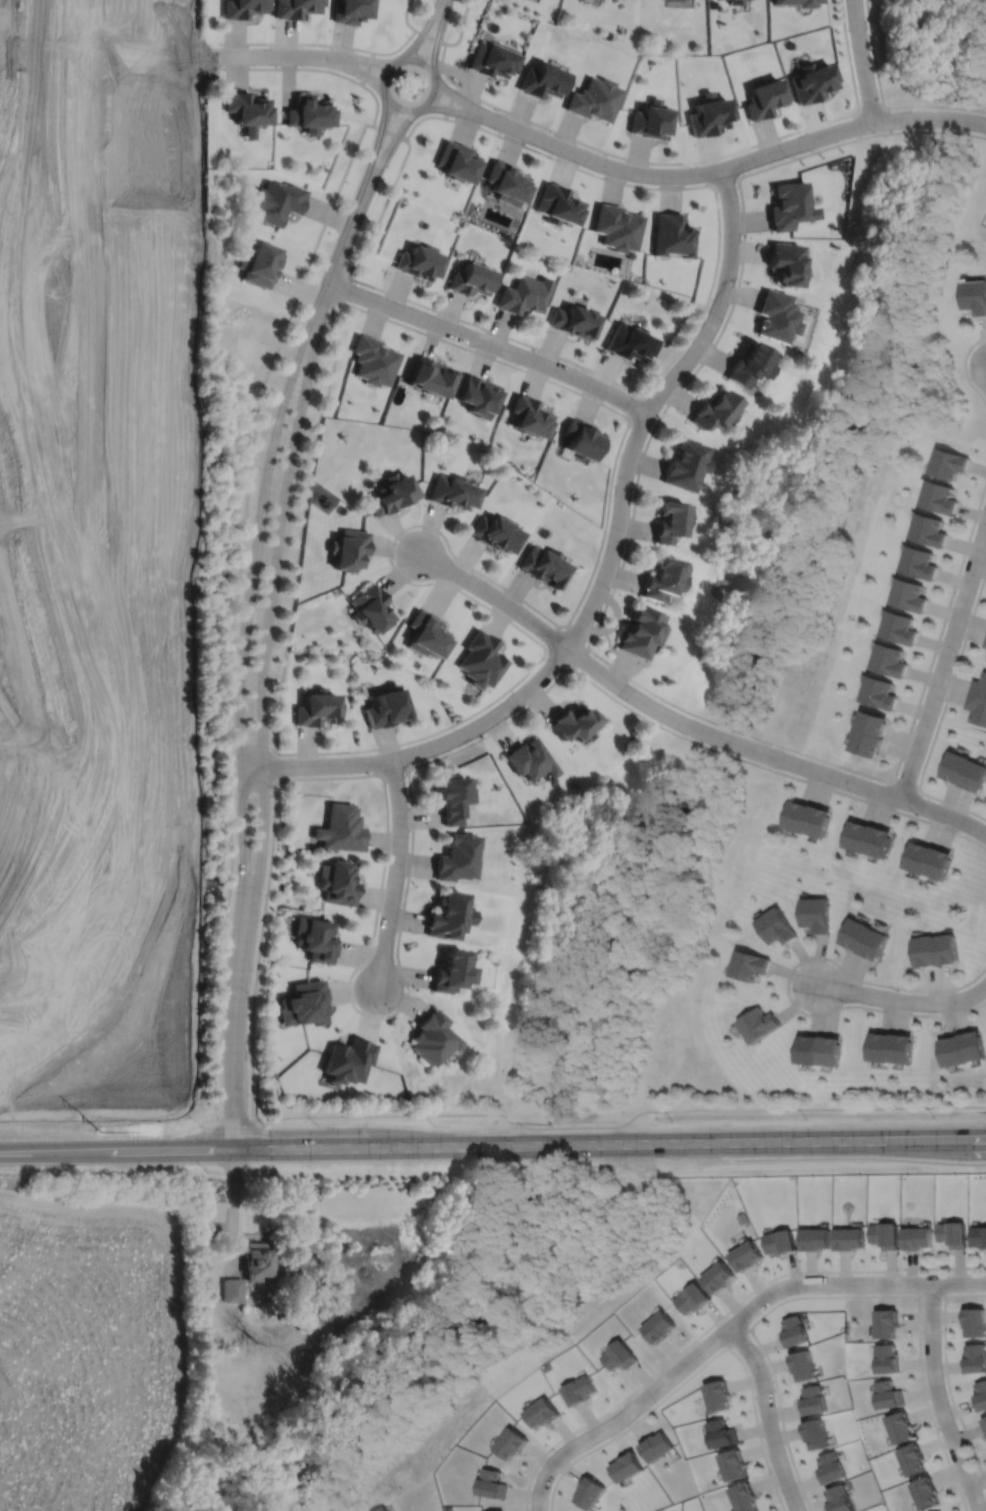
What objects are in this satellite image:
building: (735, 1)
building: (805, 4)
building: (244, 7)
building: (297, 7)
building: (352, 10)
road: (464, 27)
road: (423, 33)
road: (440, 35)
road: (411, 36)
road: (432, 36)
road: (298, 43)
road: (849, 53)
road: (276, 55)
road: (363, 58)
building: (496, 58)
road: (863, 61)
road: (295, 68)
road: (368, 68)
road: (358, 70)
building: (546, 79)
building: (813, 80)
building: (765, 96)
building: (598, 98)
road: (453, 101)
road: (467, 101)
road: (883, 102)
road: (871, 105)
road: (396, 107)
building: (249, 110)
building: (310, 112)
road: (463, 112)
building: (709, 113)
building: (650, 119)
road: (889, 119)
road: (857, 124)
road: (391, 132)
road: (380, 141)
road: (392, 146)
road: (631, 158)
building: (460, 161)
road: (740, 162)
road: (738, 163)
road: (725, 180)
building: (510, 183)
road: (394, 187)
building: (278, 201)
building: (790, 204)
building: (560, 205)
road: (719, 224)
building: (617, 227)
building: (672, 235)
road: (342, 251)
building: (422, 261)
building: (786, 262)
building: (262, 263)
building: (474, 279)
road: (348, 288)
building: (523, 294)
building: (975, 295)
road: (438, 310)
building: (776, 316)
building: (573, 320)
road: (491, 343)
building: (629, 343)
building: (375, 361)
building: (749, 364)
road: (963, 369)
building: (434, 377)
building: (477, 396)
road: (653, 404)
building: (715, 410)
building: (529, 417)
building: (581, 439)
building: (949, 464)
building: (686, 465)
road: (613, 469)
building: (393, 492)
building: (452, 492)
building: (940, 498)
road: (302, 521)
building: (670, 522)
building: (930, 531)
building: (495, 533)
building: (349, 547)
building: (920, 564)
building: (543, 567)
road: (242, 578)
building: (662, 580)
road: (496, 595)
road: (610, 596)
building: (910, 596)
building: (372, 607)
building: (900, 628)
road: (577, 630)
building: (640, 632)
building: (428, 633)
road: (551, 635)
road: (247, 642)
building: (984, 642)
road: (266, 645)
building: (481, 658)
road: (580, 658)
building: (888, 659)
road: (944, 660)
road: (554, 661)
road: (520, 679)
building: (878, 691)
building: (977, 700)
building: (317, 707)
building: (388, 707)
road: (940, 714)
building: (571, 720)
building: (869, 732)
road: (423, 750)
road: (769, 755)
building: (529, 759)
road: (413, 766)
road: (279, 767)
building: (965, 770)
road: (395, 771)
road: (254, 783)
road: (904, 787)
building: (451, 797)
building: (806, 818)
building: (341, 828)
building: (866, 838)
building: (456, 856)
building: (927, 860)
road: (396, 873)
building: (338, 882)
building: (815, 914)
building: (445, 915)
building: (775, 927)
building: (315, 939)
building: (863, 939)
building: (935, 950)
road: (260, 951)
building: (749, 965)
building: (449, 971)
road: (788, 980)
road: (903, 1000)
building: (304, 1004)
building: (759, 1025)
building: (431, 1038)
building: (889, 1048)
building: (961, 1049)
building: (818, 1051)
road: (236, 1060)
building: (348, 1060)
road: (621, 1125)
road: (493, 1145)
road: (857, 1157)
road: (236, 1210)
building: (953, 1235)
building: (884, 1236)
building: (979, 1238)
building: (849, 1240)
building: (917, 1240)
building: (815, 1241)
building: (781, 1243)
building: (747, 1257)
building: (260, 1262)
street lamp: (901, 1273)
street lamp: (802, 1274)
building: (719, 1278)
building: (233, 1291)
road: (931, 1295)
road: (841, 1296)
building: (693, 1297)
street lamp: (940, 1302)
street lamp: (728, 1315)
road: (718, 1319)
building: (974, 1320)
building: (885, 1322)
building: (659, 1325)
road: (727, 1328)
building: (793, 1330)
road: (736, 1337)
crop: (90, 1352)
building: (619, 1354)
building: (886, 1357)
building: (975, 1357)
street lamp: (765, 1360)
building: (803, 1365)
road: (697, 1369)
road: (945, 1375)
building: (579, 1389)
building: (887, 1394)
building: (718, 1395)
building: (980, 1395)
building: (811, 1399)
road: (938, 1399)
street lamp: (654, 1402)
building: (541, 1411)
road: (767, 1416)
building: (984, 1421)
building: (899, 1426)
building: (721, 1433)
building: (815, 1433)
building: (985, 1434)
building: (510, 1442)
building: (656, 1446)
street lamp: (550, 1451)
building: (911, 1458)
building: (733, 1464)
building: (626, 1466)
building: (829, 1468)
street lamp: (771, 1471)
building: (491, 1483)
building: (924, 1491)
building: (589, 1492)
building: (744, 1497)
building: (838, 1499)
building: (382, 1509)

